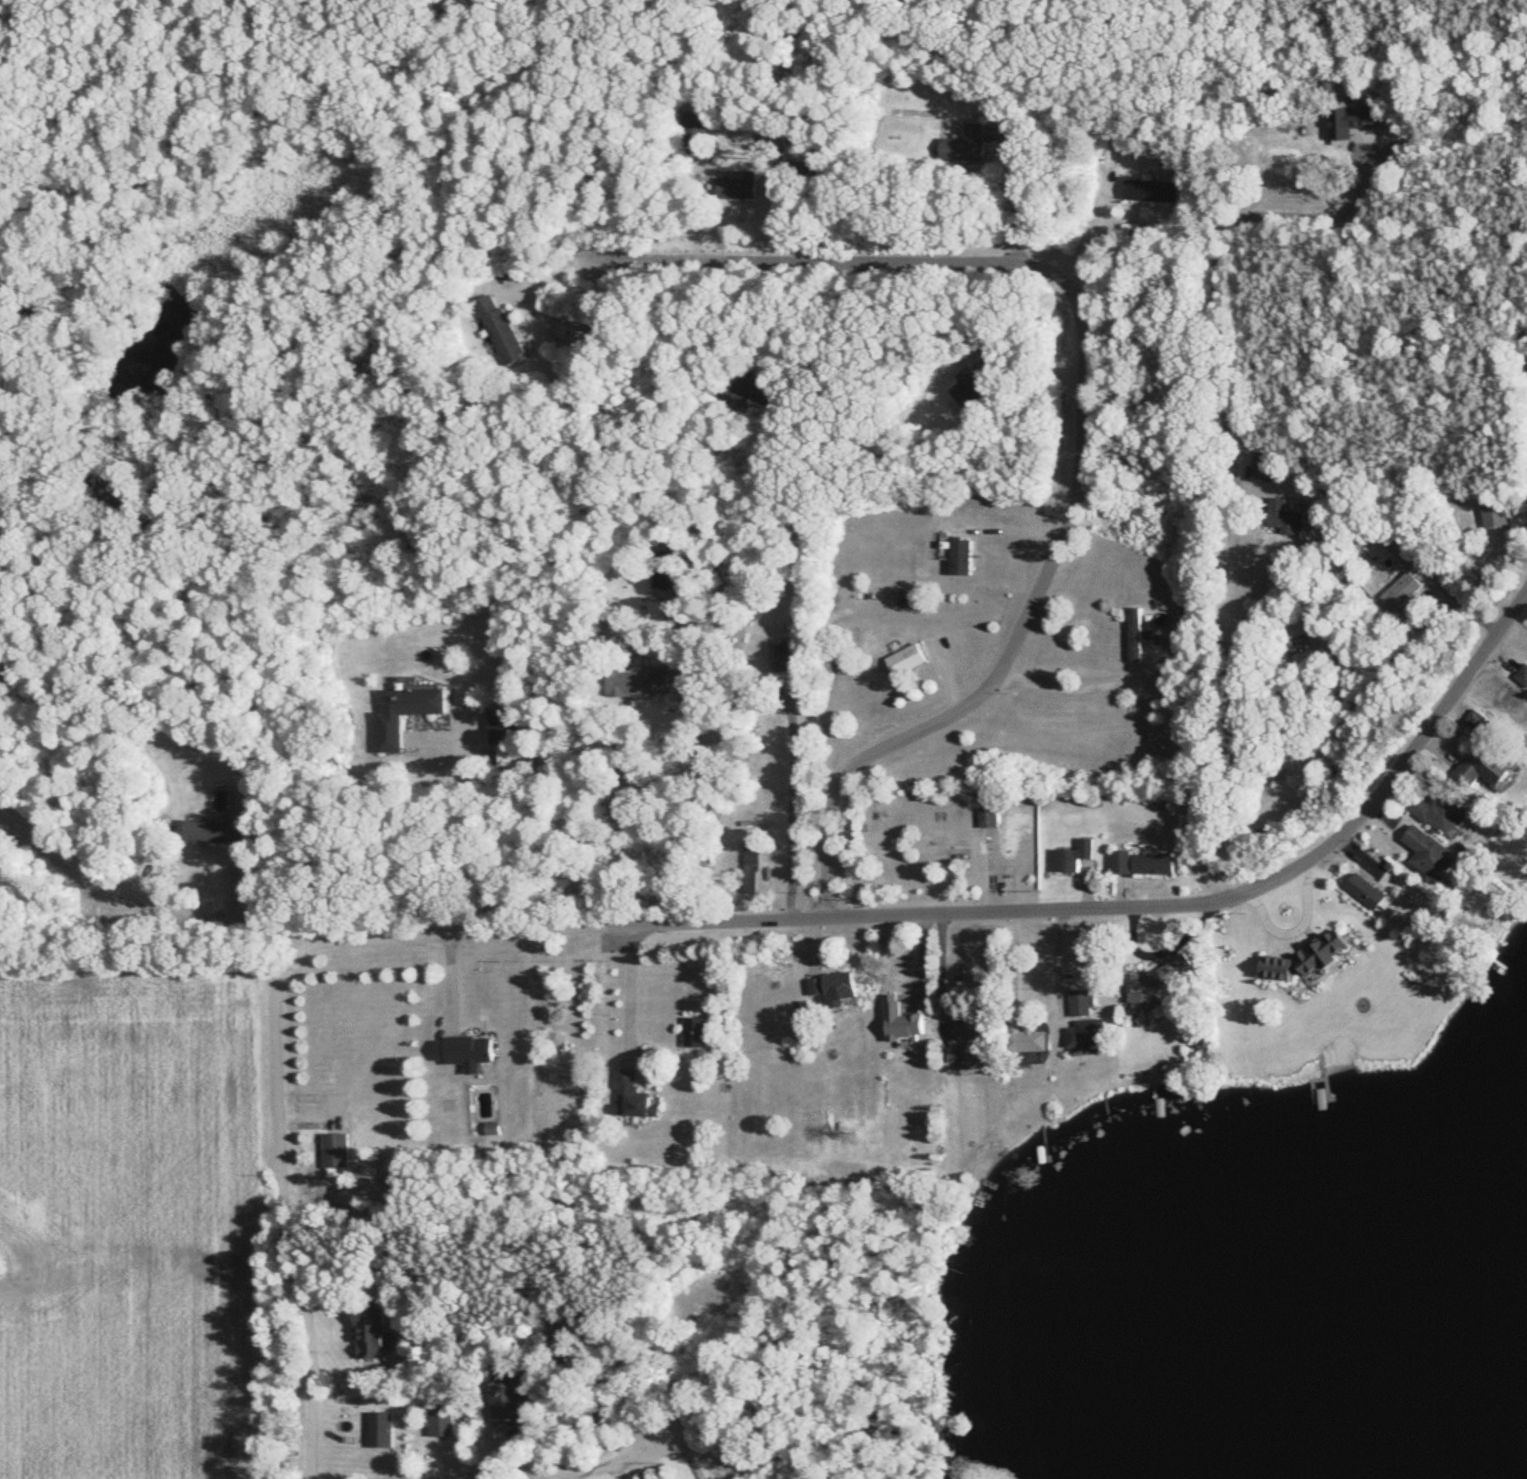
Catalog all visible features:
building: (1341, 123)
building: (696, 127)
building: (965, 145)
building: (737, 185)
building: (1152, 191)
road: (1017, 196)
road: (1090, 245)
road: (1221, 253)
road: (547, 275)
building: (502, 328)
road: (685, 334)
building: (756, 388)
building: (968, 388)
road: (1083, 415)
building: (1265, 466)
building: (1496, 511)
building: (1286, 517)
building: (1405, 547)
building: (962, 556)
building: (662, 569)
building: (1403, 590)
road: (1458, 598)
building: (1136, 634)
building: (784, 654)
building: (906, 659)
building: (2, 672)
building: (1523, 674)
road: (1229, 676)
building: (638, 681)
road: (1081, 684)
building: (406, 710)
building: (504, 737)
building: (1490, 767)
road: (687, 802)
building: (1441, 810)
road: (794, 814)
building: (989, 817)
building: (219, 830)
road: (463, 841)
building: (947, 848)
building: (1432, 852)
building: (1074, 855)
building: (1123, 860)
building: (1154, 862)
building: (752, 865)
road: (140, 890)
building: (1368, 890)
road: (1148, 907)
road: (445, 932)
building: (1340, 943)
road: (1017, 964)
road: (944, 974)
building: (1153, 982)
building: (835, 987)
road: (632, 988)
building: (1082, 1002)
building: (1322, 1003)
building: (903, 1019)
building: (697, 1031)
building: (1089, 1032)
building: (1029, 1040)
building: (971, 1042)
building: (466, 1049)
building: (635, 1095)
building: (494, 1129)
building: (338, 1150)
road: (293, 1228)
building: (371, 1332)
building: (509, 1401)
building: (443, 1420)
building: (383, 1429)
road: (604, 1458)

